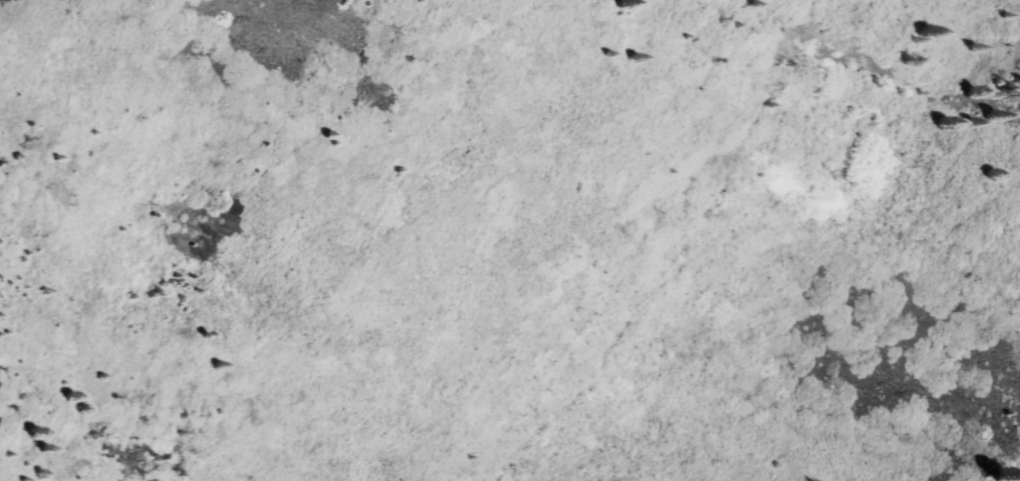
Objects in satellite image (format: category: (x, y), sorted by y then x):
road: (1019, 479)

